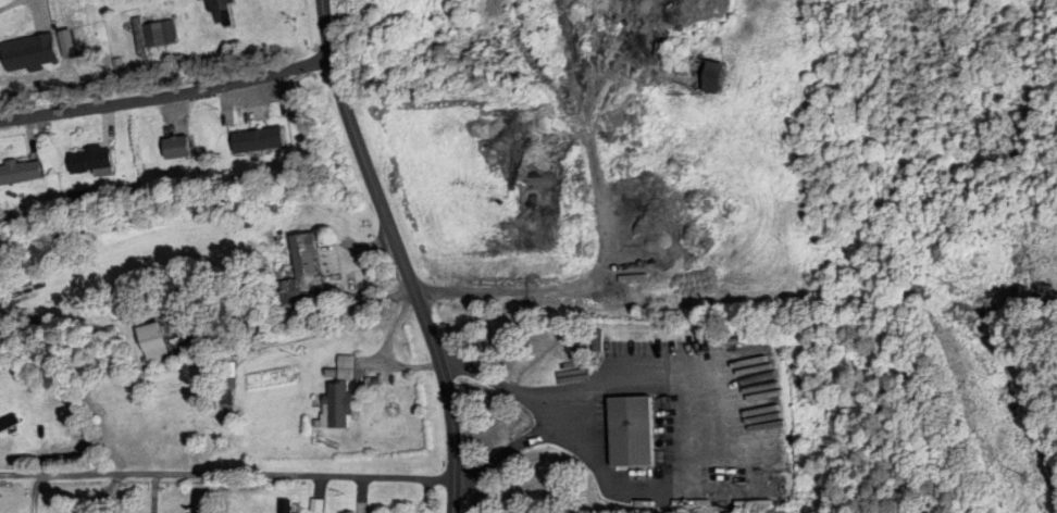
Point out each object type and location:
road: (10, 5)
building: (704, 11)
building: (220, 12)
building: (154, 34)
building: (8, 57)
building: (705, 77)
road: (165, 97)
building: (258, 141)
building: (176, 148)
building: (90, 162)
building: (20, 173)
road: (398, 254)
building: (299, 276)
building: (151, 345)
building: (337, 406)
road: (545, 415)
building: (8, 424)
building: (631, 433)
road: (696, 433)
road: (227, 475)
road: (35, 491)
building: (284, 508)

